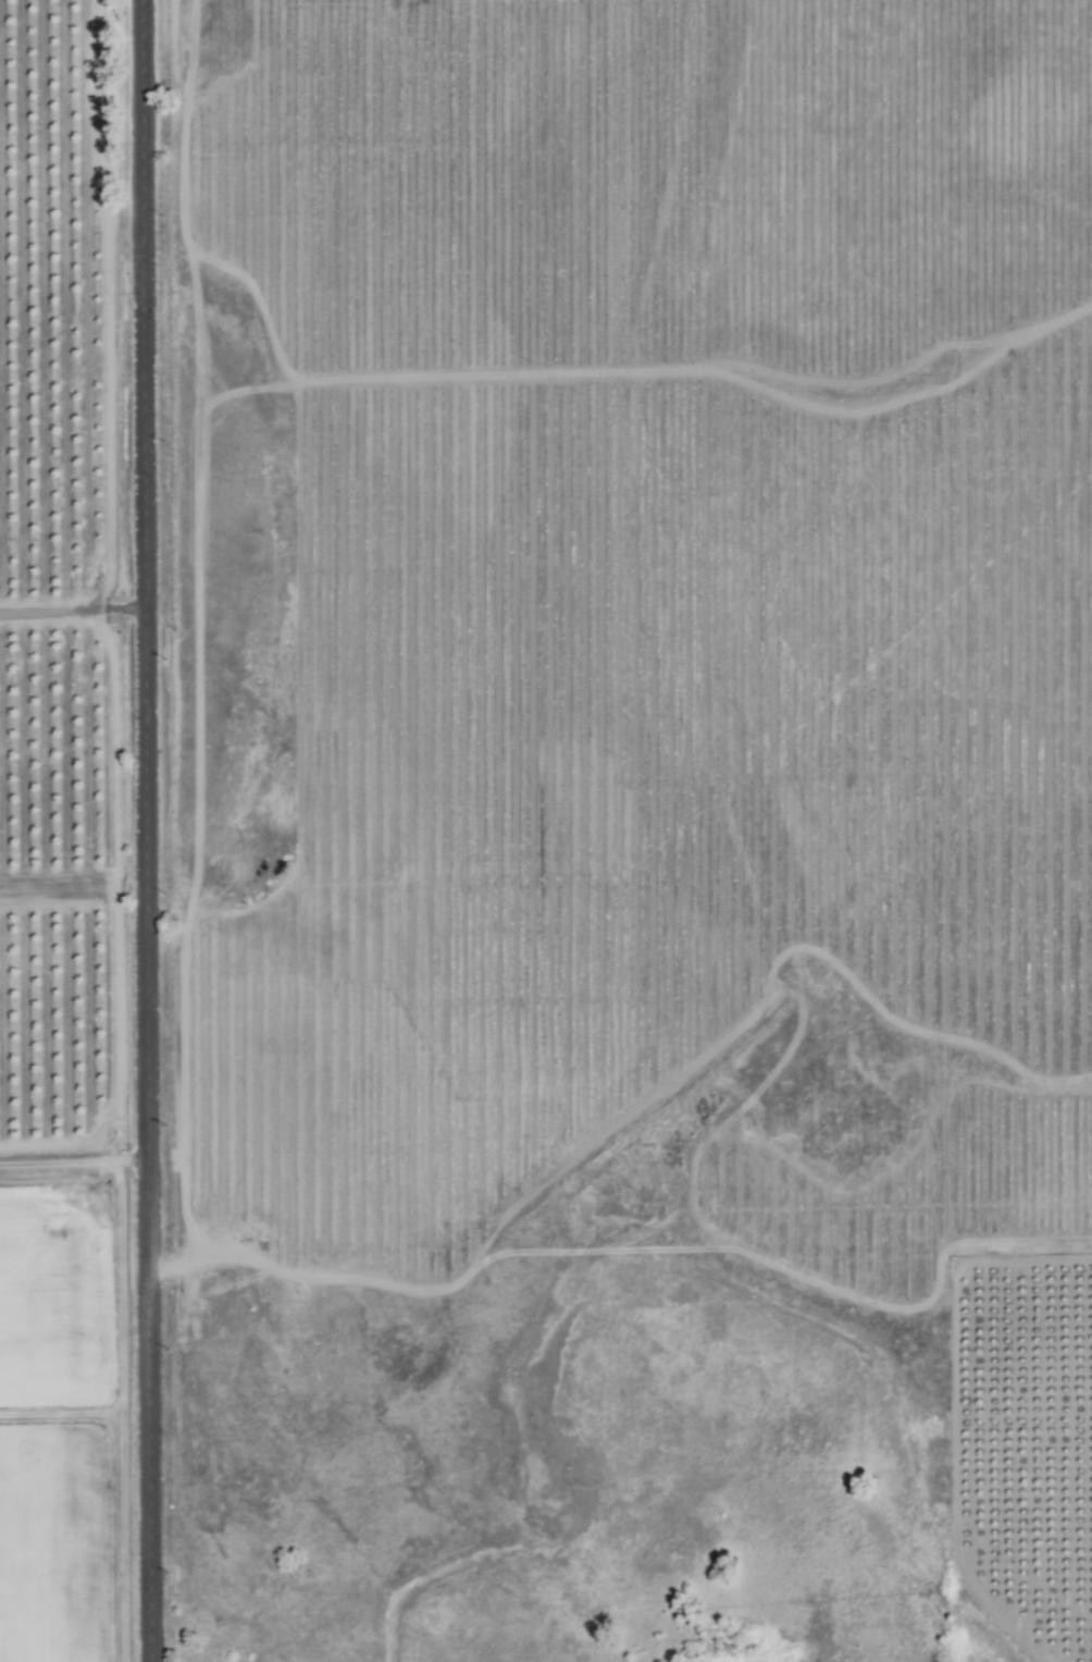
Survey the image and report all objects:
road: (72, 608)
road: (145, 830)
road: (73, 1165)

